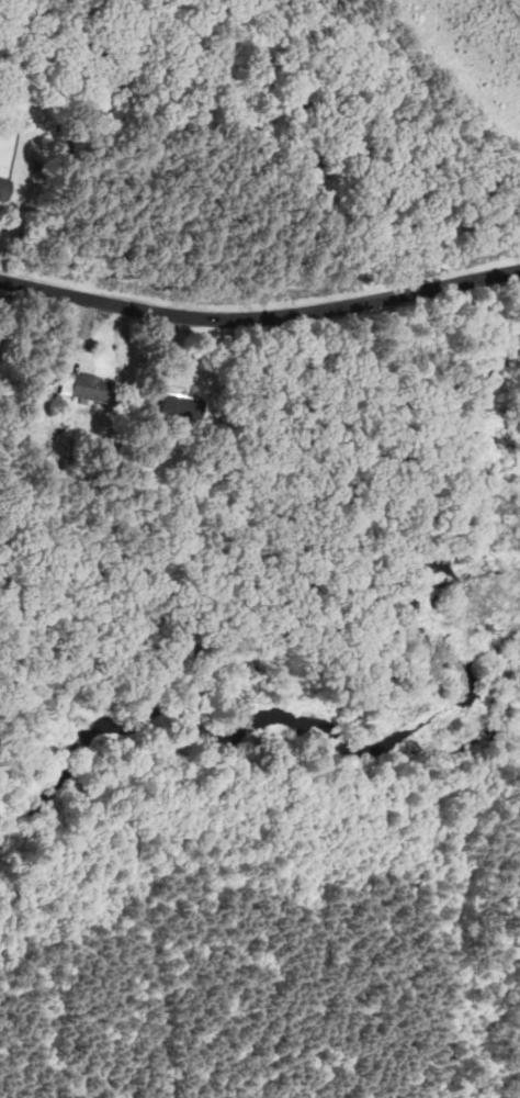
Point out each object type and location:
building: (4, 187)
road: (260, 320)
building: (88, 388)
building: (181, 407)

